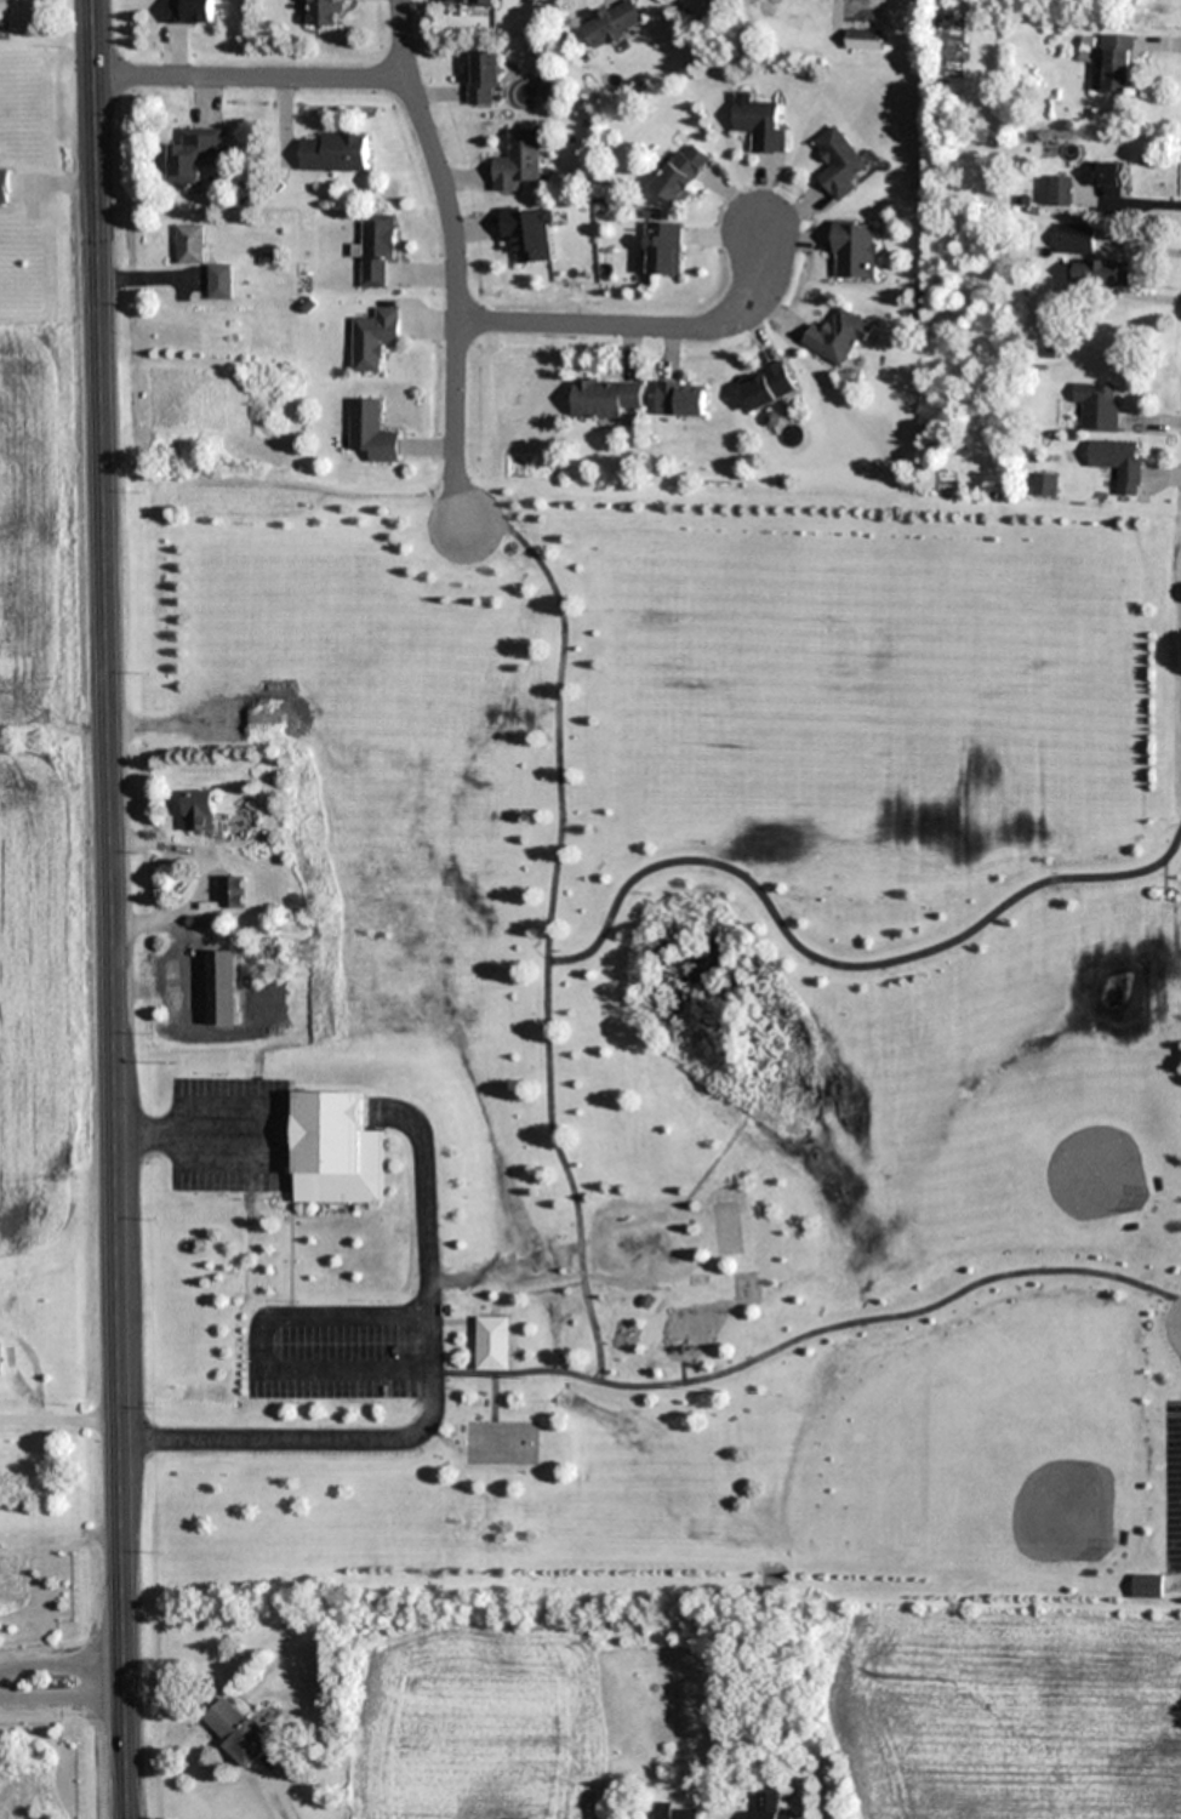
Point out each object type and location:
building: (472, 4)
building: (189, 11)
building: (323, 13)
building: (614, 25)
building: (865, 39)
building: (1116, 62)
road: (249, 79)
building: (484, 79)
building: (761, 126)
building: (332, 152)
building: (193, 154)
building: (518, 161)
building: (840, 162)
building: (683, 173)
building: (1109, 179)
building: (2, 186)
building: (1054, 192)
building: (527, 234)
building: (1076, 238)
building: (189, 244)
building: (663, 247)
building: (375, 249)
building: (855, 249)
road: (450, 264)
building: (1101, 272)
building: (219, 281)
road: (640, 327)
building: (838, 337)
building: (372, 338)
building: (769, 392)
building: (605, 398)
building: (680, 399)
building: (1099, 406)
building: (370, 430)
building: (1119, 462)
building: (1044, 484)
building: (198, 811)
building: (232, 891)
road: (107, 909)
road: (549, 928)
road: (839, 968)
building: (184, 987)
park: (672, 1053)
road: (195, 1130)
building: (337, 1150)
park: (632, 1242)
road: (817, 1332)
road: (422, 1339)
building: (492, 1342)
parking lot: (344, 1352)
road: (306, 1368)
park: (500, 1442)
parking lot: (1173, 1484)
building: (1149, 1585)
road: (59, 1664)
road: (62, 1700)
building: (238, 1732)
building: (769, 1806)
building: (677, 1811)

